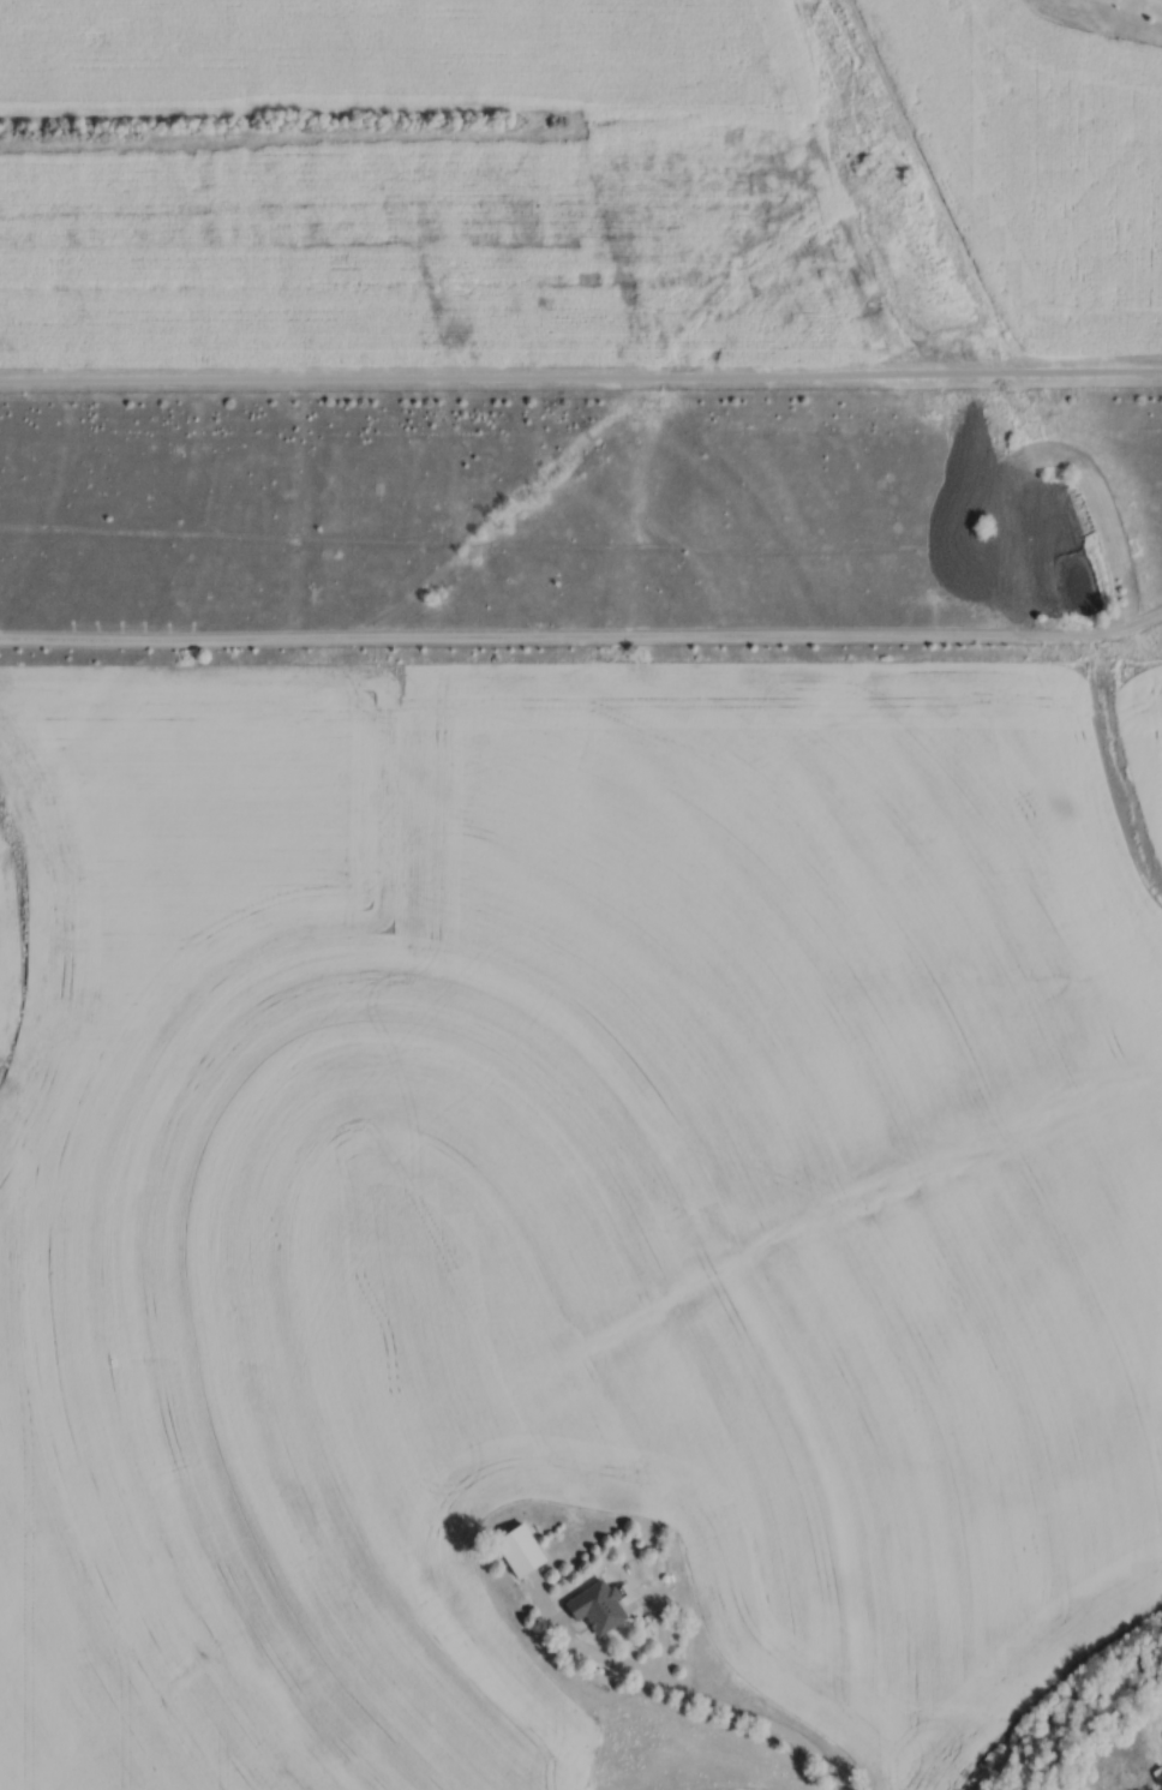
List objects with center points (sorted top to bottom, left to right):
road: (581, 382)
road: (583, 635)
building: (523, 1547)
building: (601, 1604)
road: (700, 1705)

